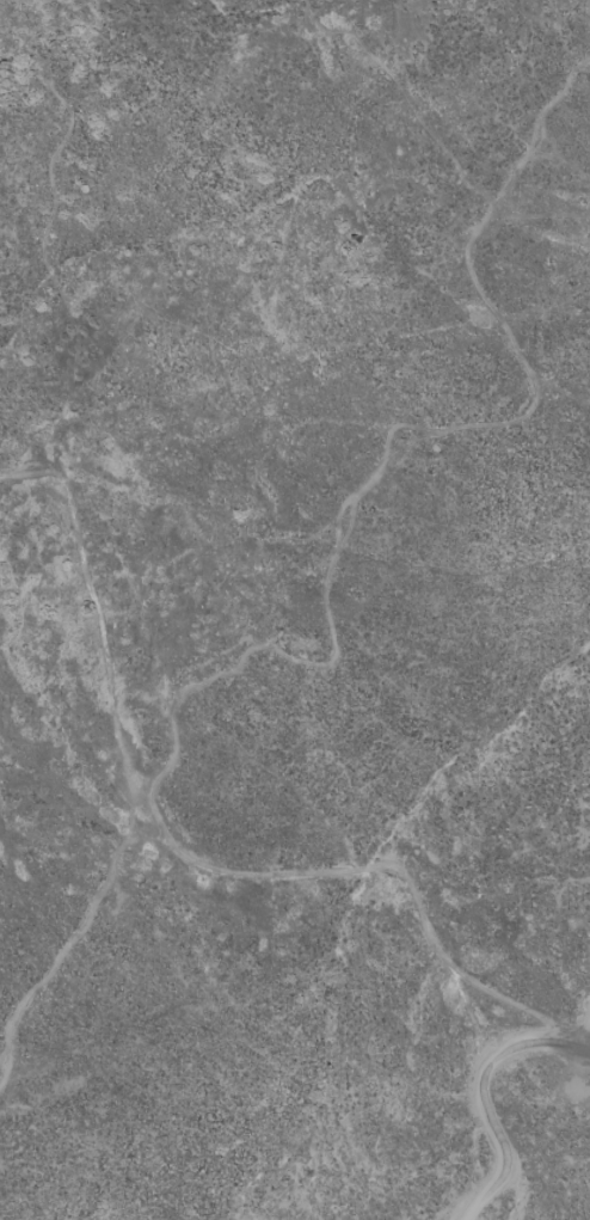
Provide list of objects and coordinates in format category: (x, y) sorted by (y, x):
road: (119, 620)
road: (251, 871)
road: (502, 1110)

